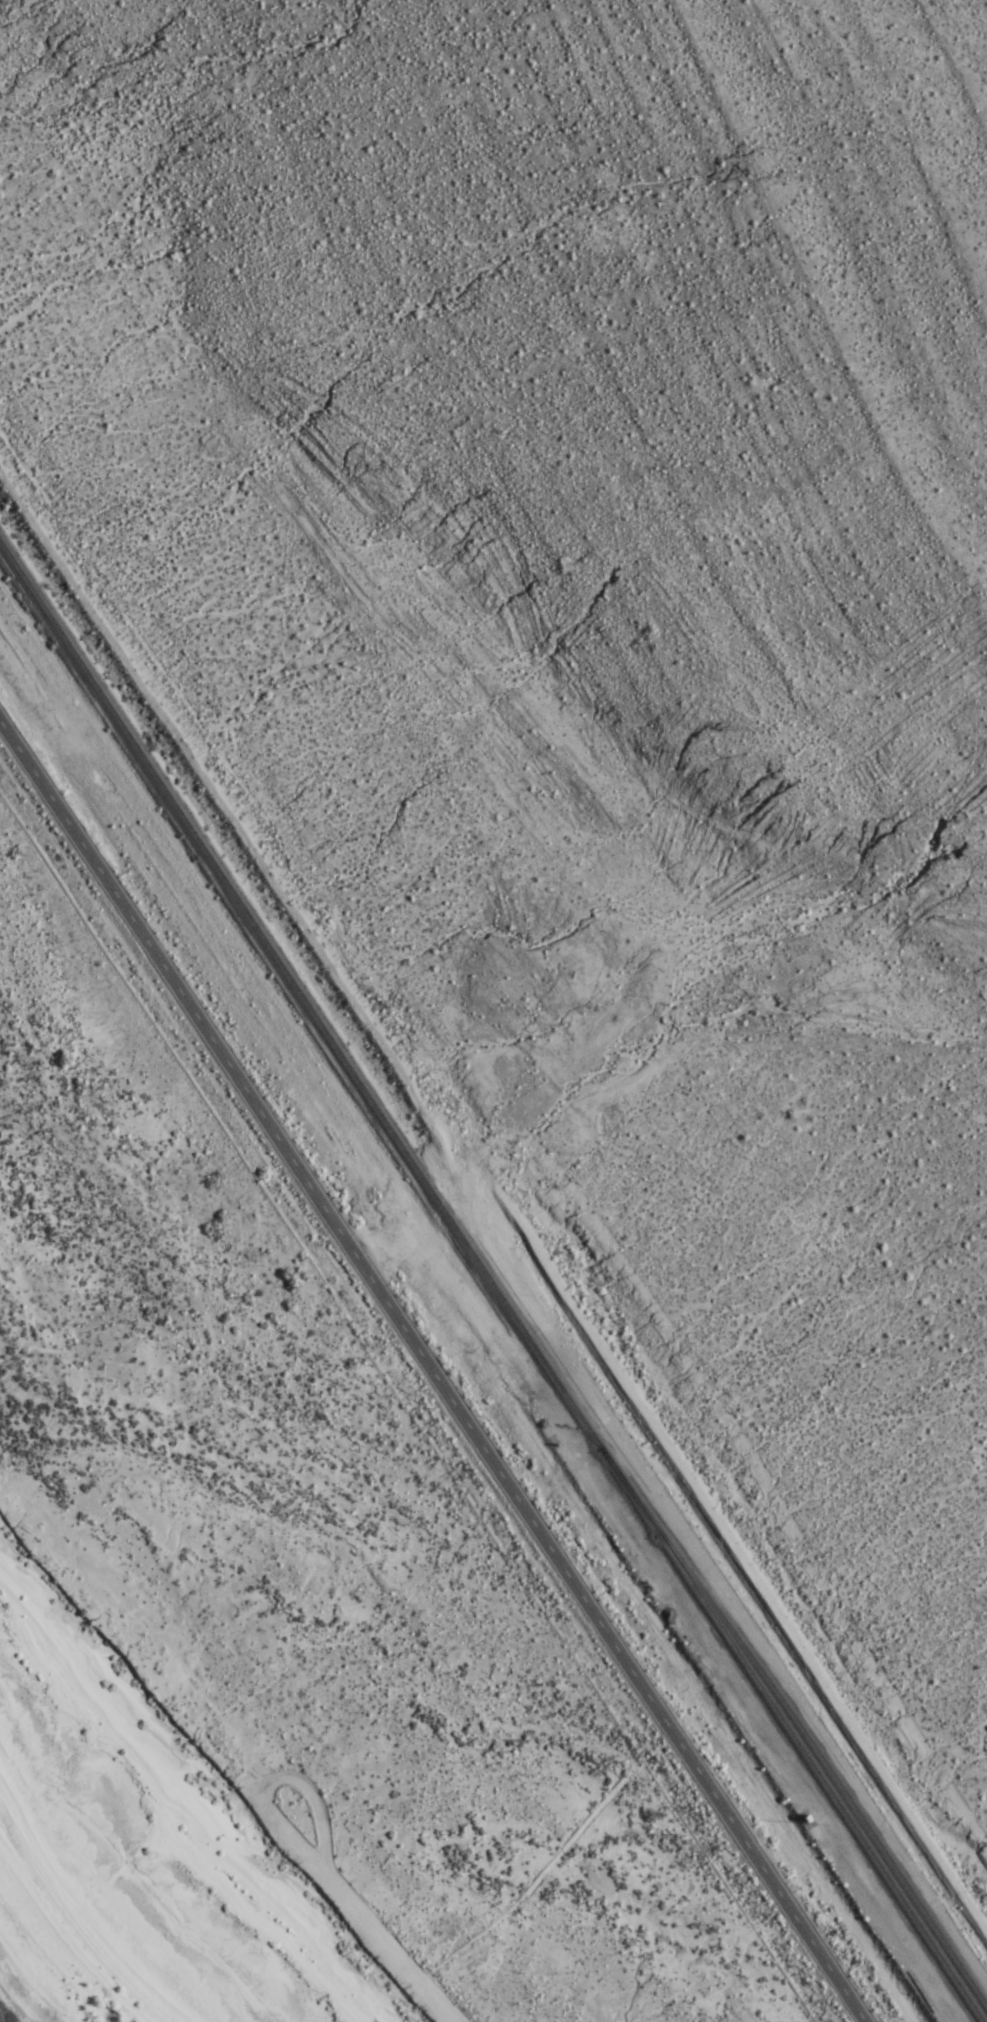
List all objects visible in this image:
railway: (294, 998)
road: (431, 1369)
railway: (800, 1728)
railway: (788, 1733)

